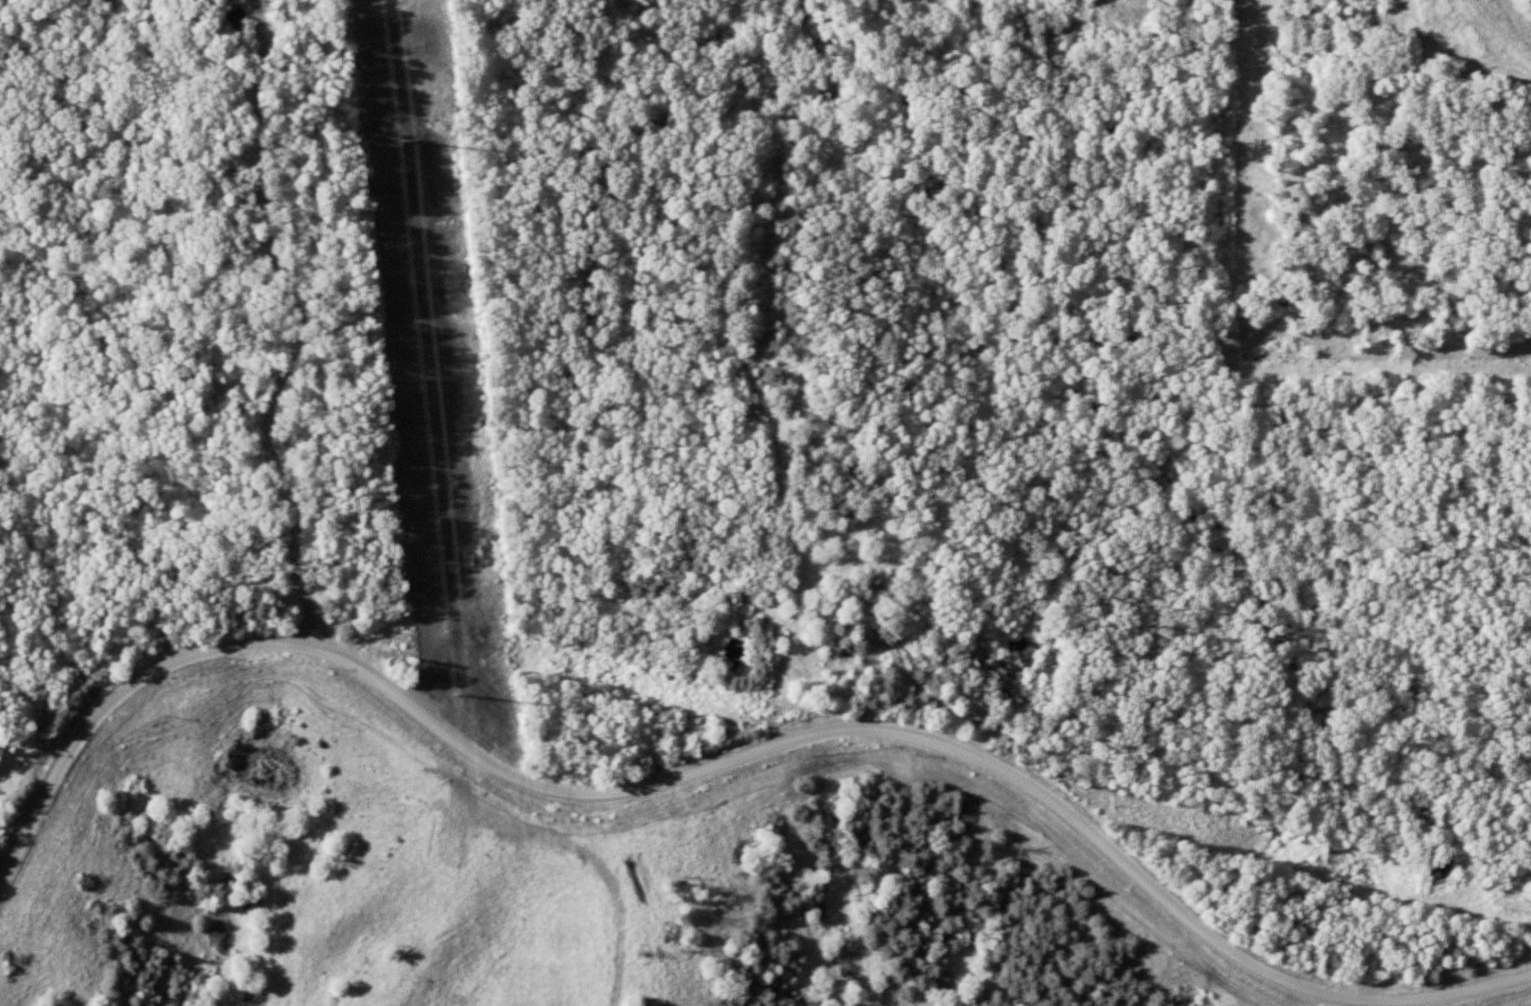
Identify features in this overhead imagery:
power tower: (393, 147)
power tower: (453, 694)
road: (725, 760)

